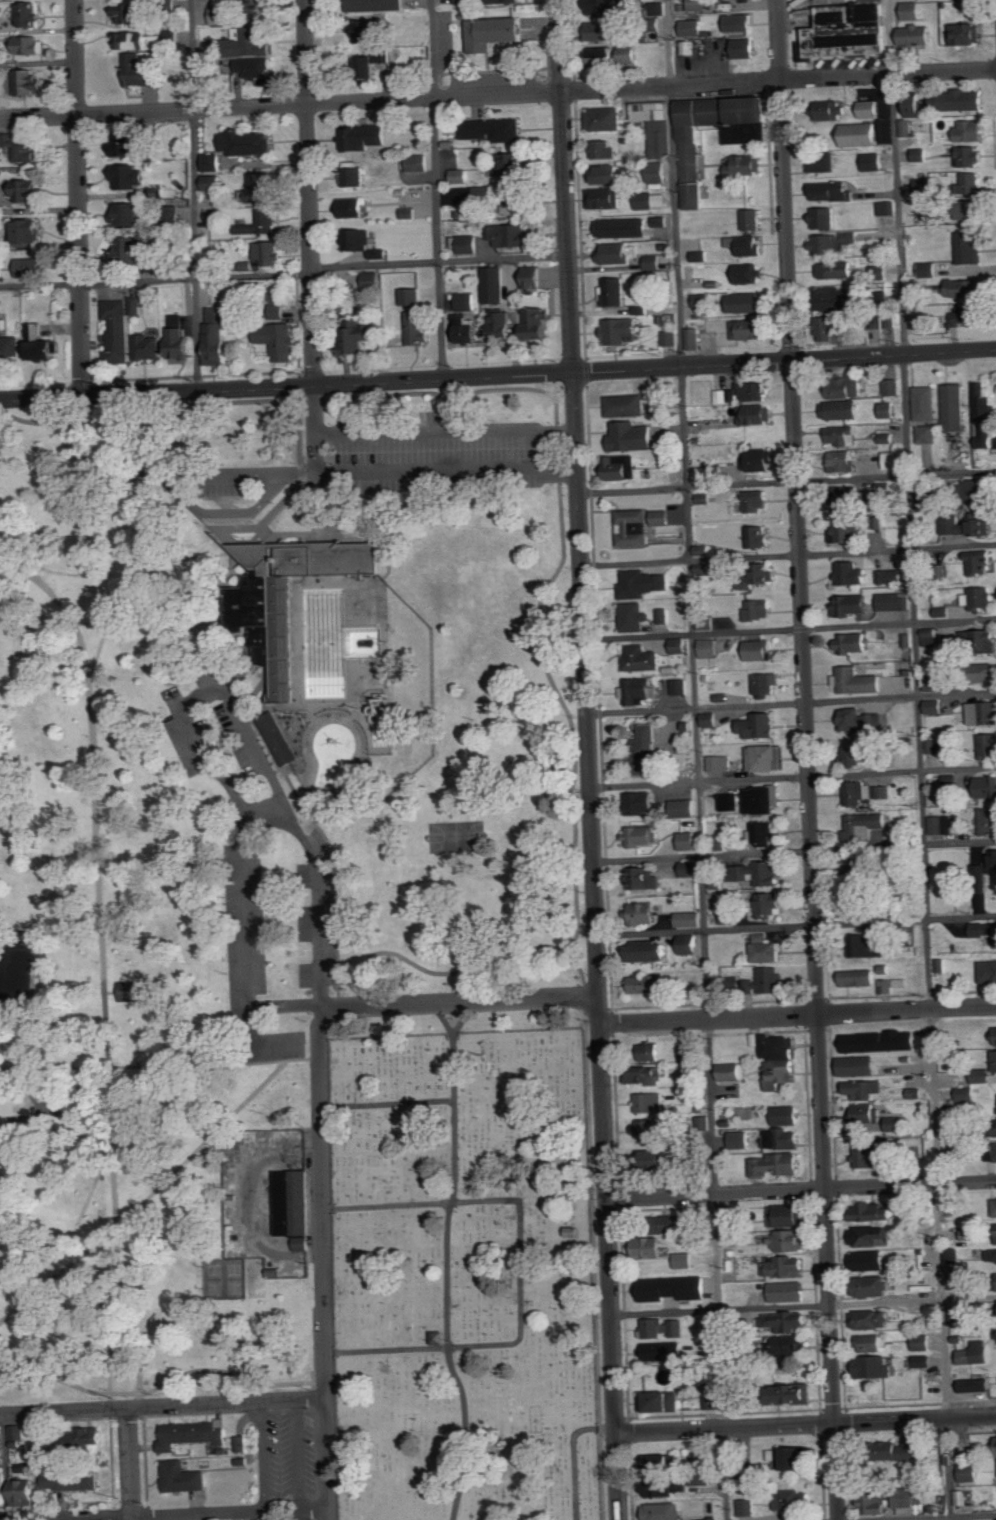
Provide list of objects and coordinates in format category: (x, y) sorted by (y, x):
building: (464, 1)
building: (503, 1)
building: (376, 5)
building: (698, 5)
building: (608, 7)
building: (262, 10)
building: (913, 11)
building: (129, 13)
building: (29, 15)
building: (220, 16)
building: (740, 23)
building: (0, 28)
building: (696, 29)
building: (604, 31)
building: (850, 31)
building: (366, 32)
building: (496, 33)
building: (967, 34)
building: (918, 36)
building: (174, 37)
building: (133, 41)
building: (27, 45)
building: (689, 48)
building: (745, 48)
building: (629, 54)
building: (604, 57)
building: (384, 58)
building: (369, 67)
building: (257, 68)
building: (141, 71)
building: (29, 82)
road: (498, 95)
building: (964, 100)
building: (915, 105)
building: (868, 109)
building: (830, 110)
building: (605, 119)
building: (656, 126)
building: (907, 128)
building: (494, 129)
building: (971, 130)
building: (737, 134)
building: (861, 135)
building: (366, 137)
building: (247, 142)
building: (127, 144)
building: (22, 148)
building: (603, 150)
building: (152, 155)
building: (920, 155)
building: (969, 156)
building: (212, 162)
building: (873, 162)
building: (418, 163)
building: (824, 163)
building: (512, 164)
building: (744, 165)
building: (693, 167)
building: (660, 172)
building: (611, 174)
building: (459, 176)
building: (130, 177)
building: (356, 177)
building: (211, 183)
building: (971, 183)
building: (925, 186)
road: (564, 187)
building: (262, 188)
road: (436, 190)
building: (27, 191)
building: (831, 191)
road: (309, 192)
building: (484, 194)
road: (193, 195)
road: (78, 198)
building: (605, 198)
building: (514, 201)
building: (652, 201)
building: (354, 207)
building: (887, 208)
building: (970, 210)
building: (174, 213)
building: (409, 213)
building: (127, 215)
building: (214, 216)
building: (826, 218)
building: (753, 220)
building: (261, 223)
building: (623, 228)
building: (30, 231)
building: (511, 236)
building: (850, 238)
building: (358, 240)
building: (467, 244)
building: (827, 244)
building: (746, 245)
building: (131, 248)
building: (970, 248)
building: (268, 253)
building: (380, 254)
building: (615, 254)
building: (701, 256)
road: (439, 259)
building: (653, 262)
building: (31, 267)
building: (928, 270)
building: (836, 271)
building: (749, 274)
building: (534, 277)
road: (155, 279)
building: (373, 280)
building: (496, 285)
building: (963, 288)
building: (614, 292)
building: (413, 296)
building: (835, 299)
building: (467, 301)
building: (701, 301)
building: (746, 303)
building: (136, 306)
building: (969, 316)
building: (539, 323)
building: (502, 326)
building: (416, 328)
building: (830, 329)
building: (118, 330)
building: (750, 330)
building: (622, 331)
building: (471, 332)
building: (180, 336)
building: (217, 336)
building: (358, 336)
building: (670, 338)
building: (694, 339)
building: (279, 340)
building: (42, 344)
building: (9, 345)
building: (148, 347)
road: (785, 362)
road: (563, 383)
road: (286, 387)
building: (893, 387)
building: (845, 388)
building: (756, 391)
building: (723, 396)
building: (926, 403)
road: (211, 404)
building: (626, 406)
building: (955, 407)
building: (842, 410)
building: (887, 410)
building: (757, 414)
building: (985, 417)
road: (315, 428)
road: (426, 430)
building: (929, 434)
building: (843, 436)
building: (632, 437)
building: (886, 438)
road: (532, 450)
building: (759, 460)
building: (844, 461)
building: (894, 461)
road: (424, 468)
building: (622, 468)
road: (225, 473)
road: (787, 480)
road: (176, 488)
building: (978, 491)
building: (850, 497)
building: (757, 501)
building: (925, 502)
building: (662, 518)
road: (265, 519)
building: (969, 525)
building: (634, 528)
building: (847, 531)
building: (758, 537)
road: (788, 553)
building: (981, 563)
road: (78, 573)
building: (852, 574)
building: (758, 576)
building: (890, 577)
building: (642, 584)
road: (135, 586)
building: (980, 598)
building: (895, 602)
building: (247, 605)
building: (853, 605)
building: (759, 610)
building: (944, 612)
building: (664, 616)
building: (634, 617)
road: (789, 627)
building: (305, 637)
building: (930, 637)
building: (854, 643)
building: (681, 646)
building: (709, 649)
building: (758, 651)
building: (642, 660)
building: (986, 673)
water park: (335, 674)
road: (551, 676)
building: (857, 681)
building: (934, 682)
building: (765, 684)
building: (681, 687)
building: (641, 691)
building: (174, 697)
road: (791, 703)
building: (934, 707)
road: (805, 712)
building: (982, 713)
road: (182, 719)
building: (710, 719)
building: (862, 720)
building: (762, 726)
building: (277, 737)
building: (989, 744)
building: (935, 745)
building: (644, 751)
building: (854, 754)
building: (767, 757)
road: (696, 760)
road: (919, 760)
building: (719, 763)
road: (793, 775)
building: (948, 779)
building: (986, 786)
building: (882, 791)
building: (859, 792)
building: (763, 798)
building: (731, 801)
building: (643, 802)
building: (684, 808)
road: (265, 816)
building: (989, 819)
building: (942, 824)
building: (864, 825)
park: (259, 831)
building: (765, 832)
park: (456, 835)
building: (643, 835)
building: (689, 840)
road: (794, 851)
building: (994, 860)
building: (858, 865)
building: (691, 868)
building: (759, 872)
building: (646, 877)
building: (770, 904)
building: (646, 913)
building: (728, 914)
building: (690, 919)
road: (796, 925)
building: (984, 929)
building: (868, 944)
road: (596, 947)
road: (101, 948)
building: (691, 948)
building: (766, 948)
building: (652, 950)
building: (941, 965)
road: (579, 969)
building: (989, 971)
building: (16, 973)
building: (770, 979)
building: (901, 982)
building: (649, 983)
building: (887, 986)
building: (126, 990)
road: (458, 1001)
road: (284, 1007)
road: (797, 1008)
road: (797, 1015)
road: (443, 1016)
building: (995, 1035)
building: (882, 1040)
building: (782, 1046)
building: (653, 1051)
building: (689, 1051)
road: (160, 1065)
building: (858, 1065)
building: (735, 1070)
building: (782, 1073)
building: (644, 1074)
building: (982, 1075)
building: (863, 1088)
building: (917, 1093)
building: (965, 1096)
building: (650, 1102)
road: (387, 1103)
building: (867, 1112)
building: (787, 1115)
building: (896, 1122)
building: (954, 1126)
building: (647, 1128)
building: (785, 1138)
building: (740, 1139)
road: (201, 1142)
building: (992, 1153)
building: (872, 1154)
building: (656, 1158)
building: (777, 1164)
road: (801, 1190)
road: (127, 1201)
building: (950, 1202)
building: (290, 1204)
building: (995, 1206)
building: (875, 1211)
road: (82, 1212)
building: (788, 1215)
building: (738, 1219)
building: (673, 1224)
building: (574, 1231)
building: (972, 1234)
building: (872, 1236)
building: (789, 1240)
building: (649, 1246)
building: (952, 1255)
building: (992, 1256)
road: (447, 1258)
building: (686, 1260)
building: (870, 1260)
road: (323, 1263)
building: (788, 1265)
park: (465, 1268)
road: (519, 1270)
park: (223, 1277)
building: (955, 1281)
building: (873, 1285)
building: (924, 1287)
building: (676, 1288)
building: (788, 1291)
road: (803, 1304)
road: (119, 1311)
building: (957, 1314)
building: (872, 1319)
building: (794, 1320)
building: (656, 1327)
building: (678, 1328)
building: (875, 1341)
building: (923, 1342)
building: (665, 1351)
building: (977, 1353)
road: (109, 1360)
building: (925, 1361)
building: (876, 1366)
road: (167, 1382)
building: (977, 1385)
road: (319, 1390)
building: (794, 1393)
building: (661, 1401)
building: (712, 1401)
road: (162, 1407)
road: (915, 1419)
road: (724, 1429)
building: (17, 1434)
building: (193, 1434)
building: (89, 1438)
building: (242, 1443)
building: (0, 1446)
building: (905, 1450)
road: (573, 1456)
building: (790, 1457)
building: (703, 1458)
building: (665, 1461)
road: (131, 1464)
road: (5, 1467)
building: (26, 1467)
road: (836, 1472)
building: (970, 1472)
building: (748, 1473)
building: (183, 1477)
building: (704, 1479)
building: (73, 1480)
building: (3, 1488)
building: (664, 1489)
building: (25, 1492)
building: (910, 1497)
building: (794, 1500)
building: (876, 1503)
building: (747, 1507)
building: (664, 1511)
road: (211, 1513)
road: (253, 1515)
road: (928, 1516)
building: (994, 1518)

